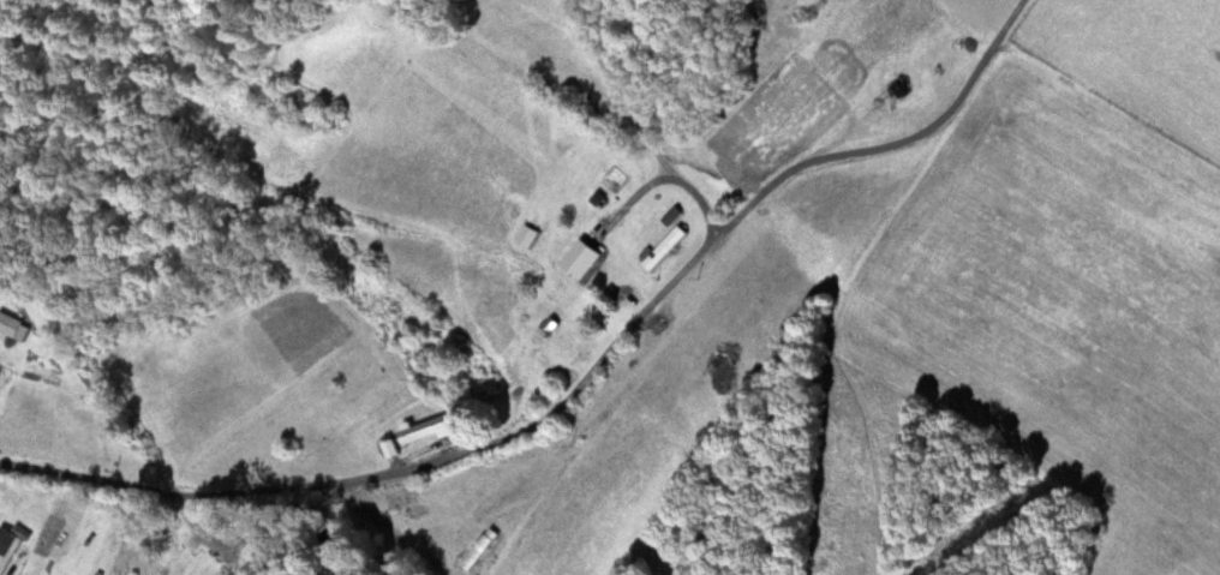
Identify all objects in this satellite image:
building: (526, 235)
building: (581, 258)
building: (12, 325)
building: (425, 427)
road: (472, 444)
building: (8, 544)

